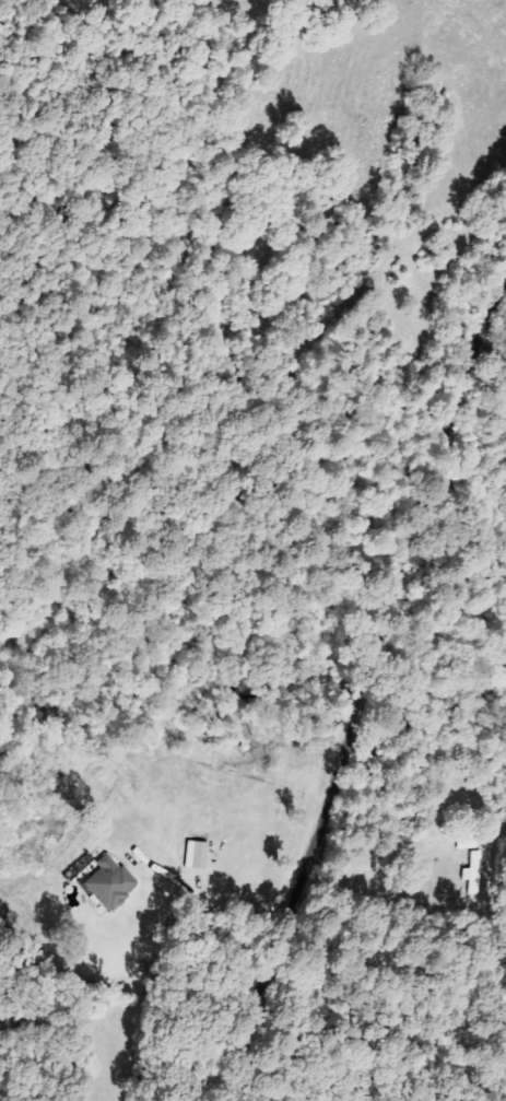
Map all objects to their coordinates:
road: (374, 686)
building: (471, 843)
building: (481, 871)
building: (114, 882)

